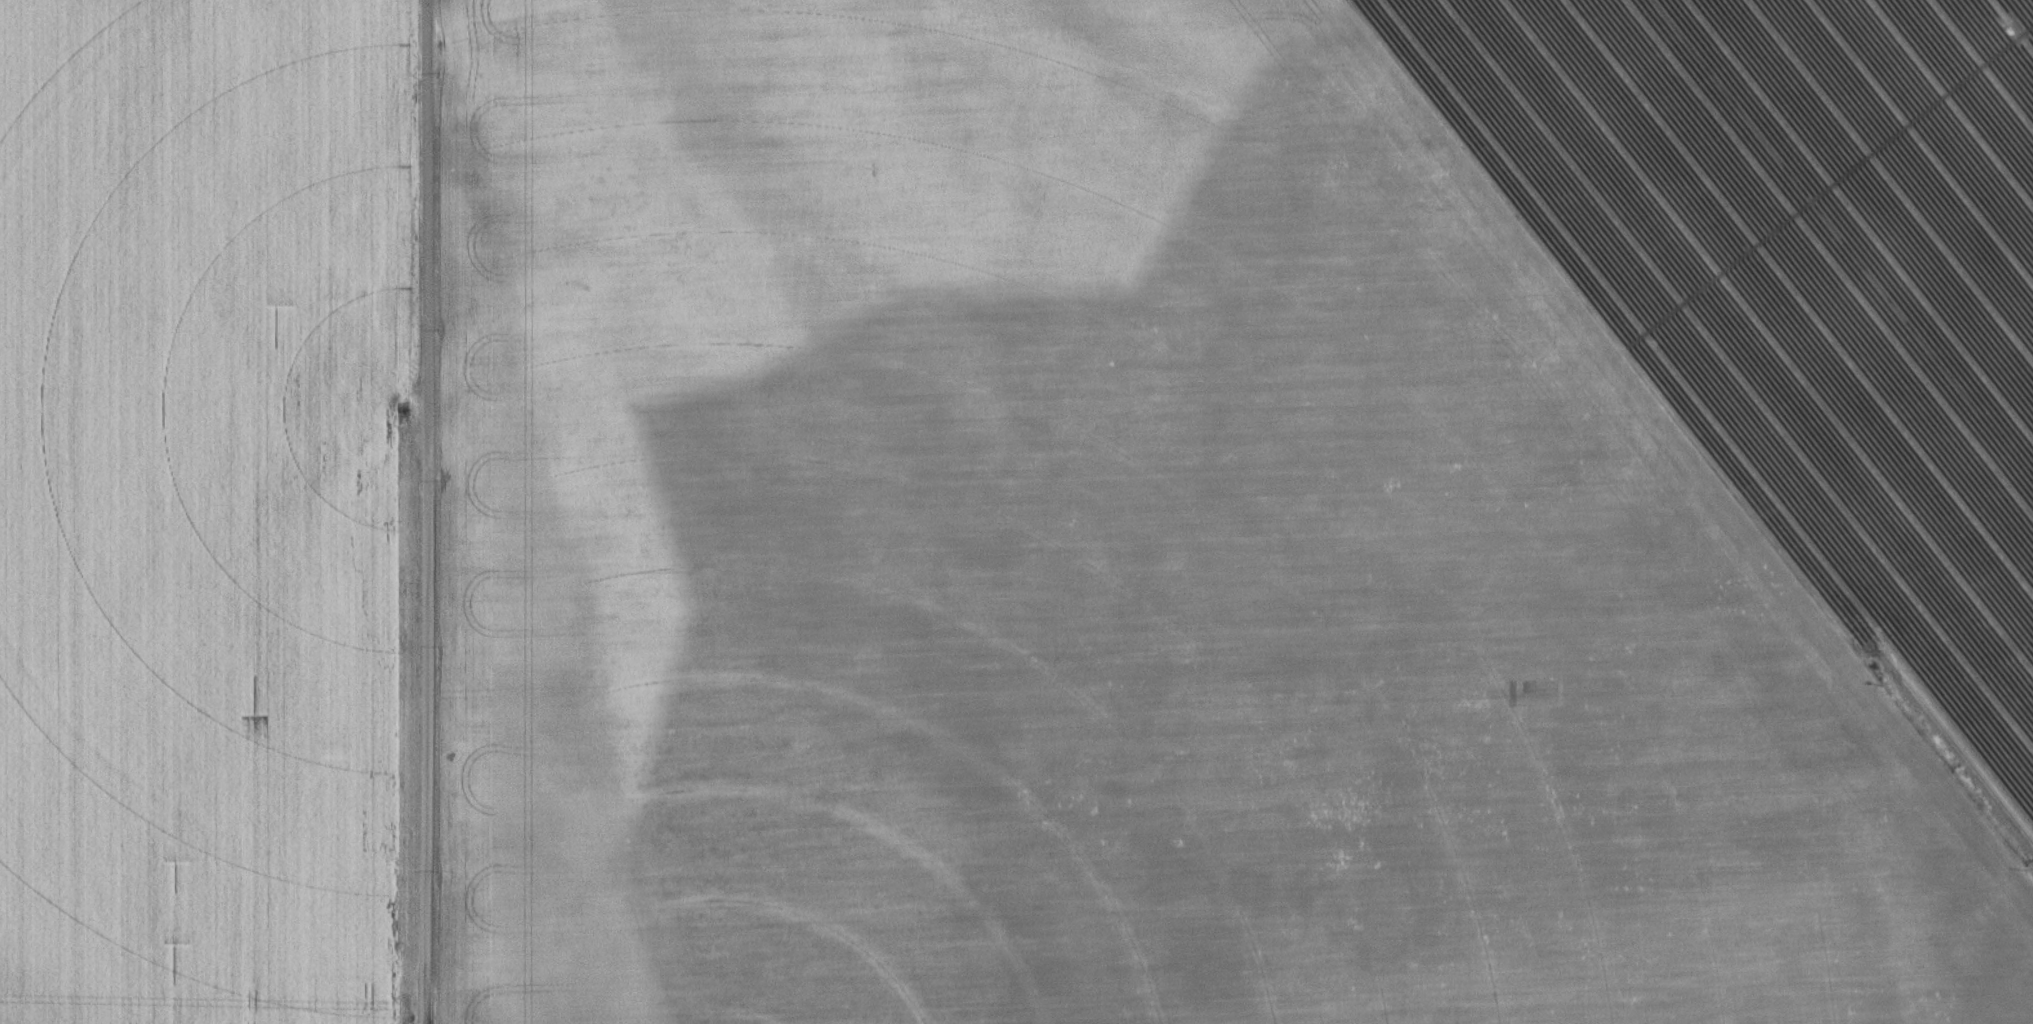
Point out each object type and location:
road: (429, 512)

